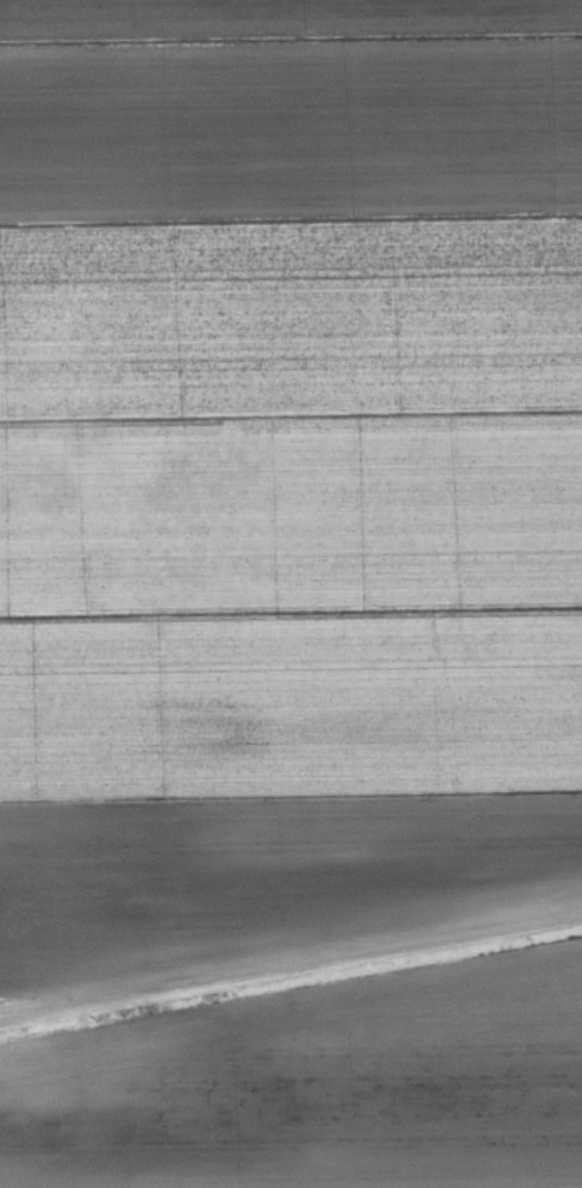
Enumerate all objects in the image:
crop: (285, 478)

